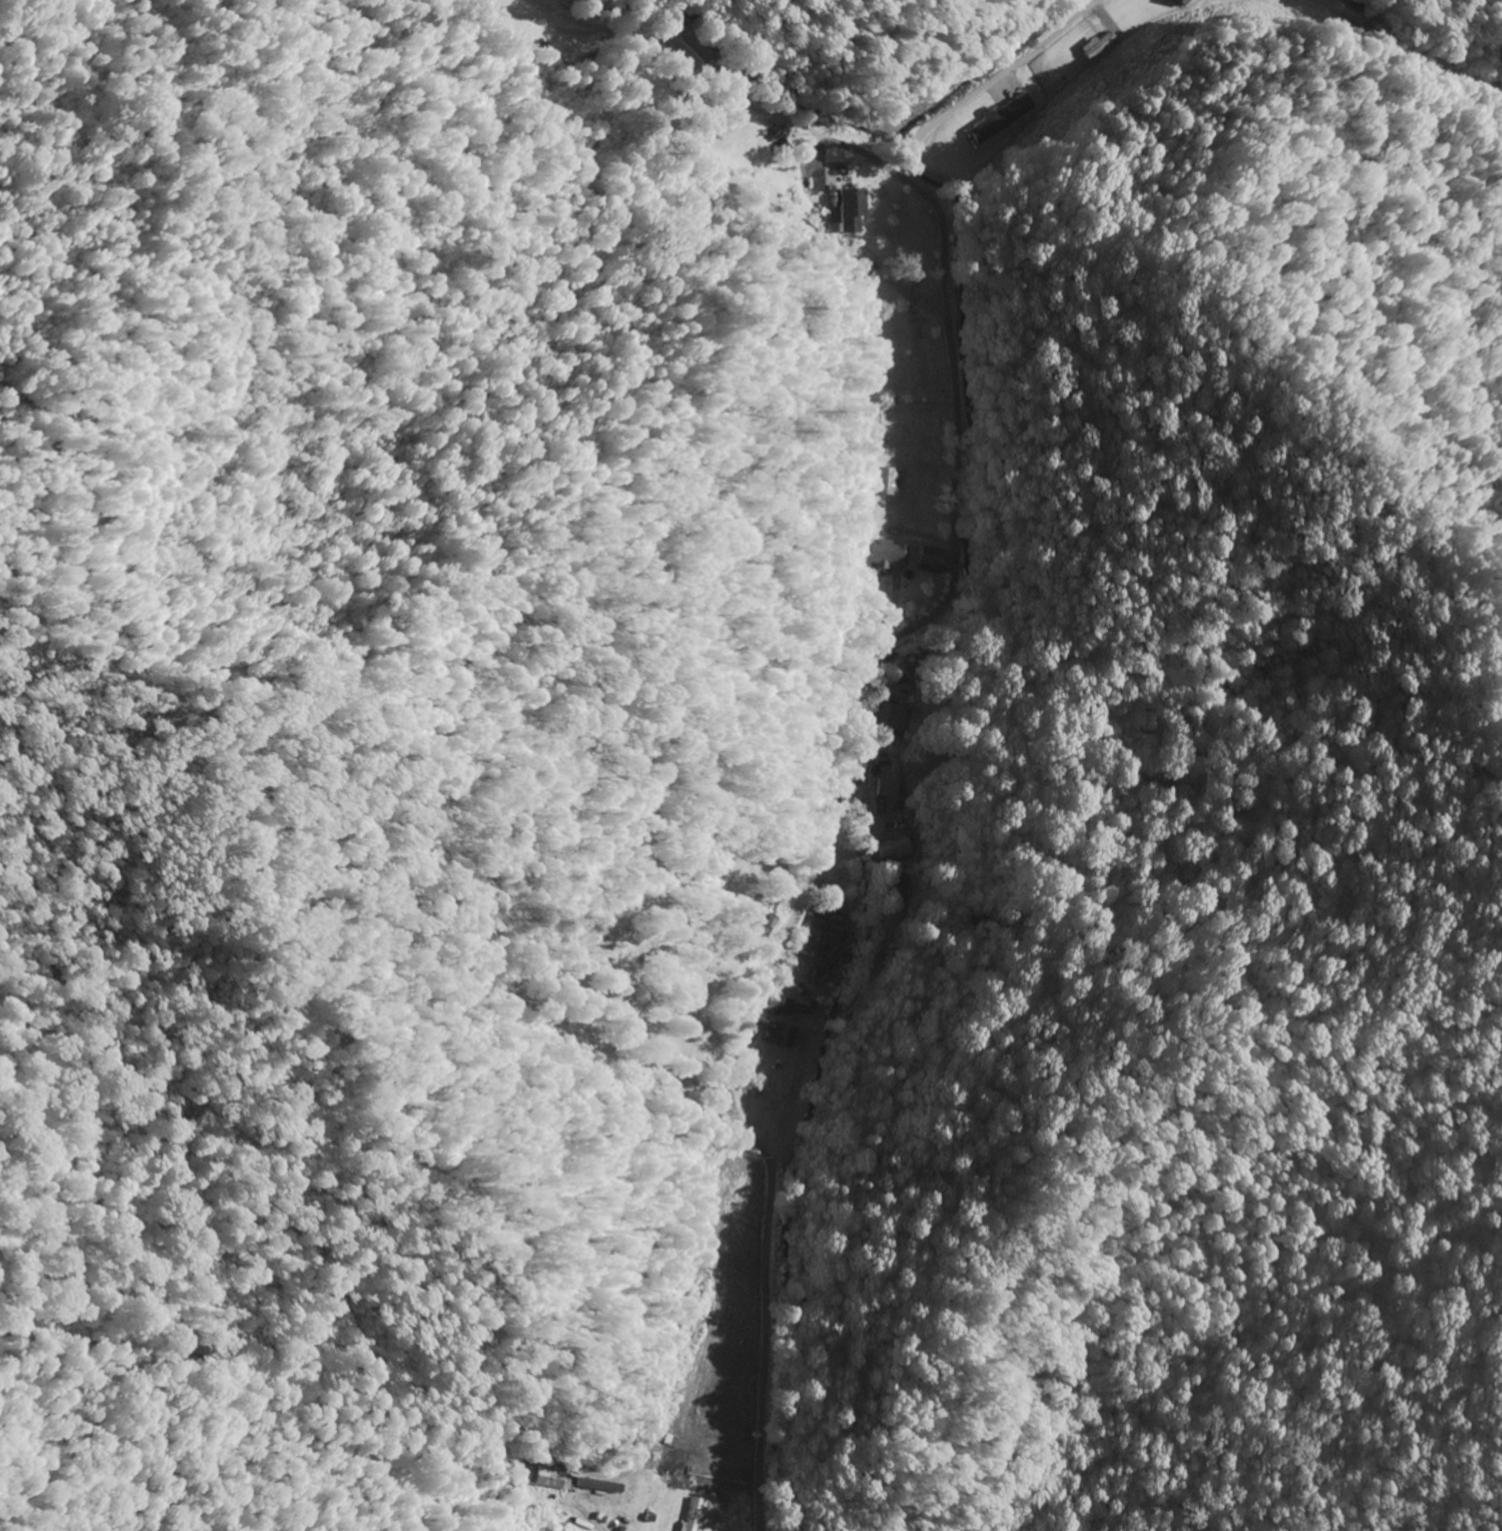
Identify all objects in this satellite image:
building: (1181, 1)
road: (993, 80)
road: (747, 99)
building: (848, 208)
building: (884, 481)
building: (883, 554)
building: (932, 560)
building: (893, 719)
road: (829, 832)
building: (897, 848)
building: (819, 940)
building: (806, 1006)
building: (779, 1007)
building: (780, 1036)
building: (554, 1477)
building: (599, 1487)
building: (694, 1515)

